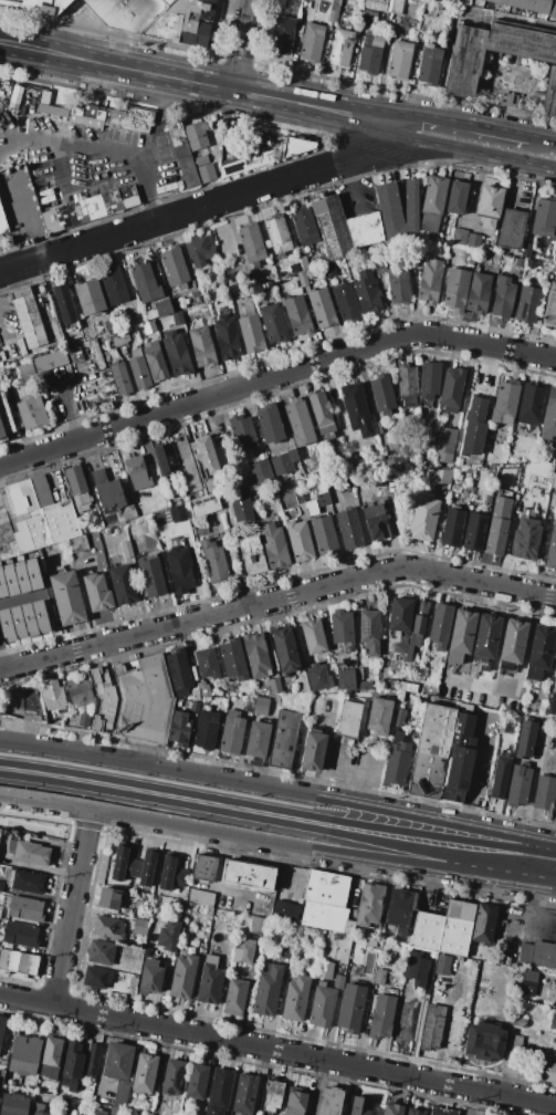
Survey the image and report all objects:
building: (167, 1)
building: (376, 4)
building: (38, 6)
building: (528, 6)
building: (397, 7)
building: (334, 11)
building: (126, 12)
building: (181, 22)
building: (283, 35)
building: (312, 42)
road: (242, 44)
building: (340, 48)
building: (370, 54)
building: (465, 59)
building: (400, 60)
building: (429, 65)
road: (190, 81)
building: (549, 92)
building: (108, 114)
road: (454, 119)
building: (197, 132)
road: (543, 137)
road: (368, 146)
road: (103, 148)
road: (465, 152)
building: (180, 153)
building: (265, 155)
building: (204, 168)
road: (512, 183)
road: (353, 184)
road: (473, 189)
building: (457, 198)
building: (432, 202)
building: (410, 205)
building: (489, 205)
building: (389, 208)
building: (82, 210)
road: (24, 215)
road: (174, 218)
building: (544, 218)
building: (2, 222)
building: (304, 226)
building: (332, 227)
building: (510, 228)
building: (365, 229)
building: (277, 233)
building: (458, 237)
building: (473, 241)
building: (251, 243)
building: (200, 249)
building: (526, 250)
building: (417, 257)
building: (471, 260)
building: (520, 262)
building: (531, 263)
building: (378, 265)
building: (175, 268)
building: (303, 278)
building: (144, 281)
building: (430, 281)
building: (398, 284)
building: (553, 284)
building: (114, 285)
building: (455, 289)
building: (479, 291)
building: (367, 293)
building: (88, 296)
building: (196, 296)
building: (503, 296)
building: (345, 302)
building: (63, 304)
building: (527, 304)
building: (321, 308)
building: (162, 309)
building: (549, 310)
building: (297, 315)
building: (29, 316)
building: (178, 319)
building: (273, 323)
building: (148, 327)
building: (251, 331)
road: (1, 333)
building: (227, 337)
building: (201, 345)
building: (177, 353)
building: (96, 354)
building: (50, 361)
building: (155, 362)
building: (138, 371)
building: (25, 372)
building: (120, 378)
road: (275, 378)
building: (429, 383)
building: (407, 384)
building: (451, 389)
building: (382, 394)
building: (505, 403)
building: (531, 403)
road: (66, 407)
building: (356, 409)
building: (31, 411)
building: (322, 415)
building: (549, 417)
building: (4, 421)
building: (300, 421)
building: (475, 423)
building: (269, 424)
building: (242, 431)
building: (444, 445)
building: (261, 451)
building: (204, 454)
building: (471, 459)
building: (161, 460)
building: (458, 461)
building: (283, 462)
building: (397, 463)
building: (188, 466)
building: (491, 471)
building: (137, 472)
building: (261, 472)
building: (441, 476)
building: (554, 481)
building: (391, 483)
building: (76, 486)
building: (210, 486)
building: (323, 488)
building: (106, 491)
building: (272, 492)
building: (29, 494)
building: (300, 498)
building: (487, 499)
building: (203, 504)
building: (241, 508)
building: (178, 513)
building: (128, 515)
building: (422, 518)
building: (375, 522)
building: (499, 525)
building: (45, 527)
building: (200, 527)
building: (349, 528)
building: (452, 528)
building: (474, 532)
building: (324, 534)
building: (526, 539)
building: (298, 540)
building: (77, 544)
building: (274, 545)
building: (126, 549)
building: (552, 550)
building: (251, 555)
building: (213, 561)
building: (179, 569)
building: (33, 573)
building: (21, 576)
building: (150, 576)
building: (10, 580)
building: (2, 584)
building: (123, 584)
building: (96, 592)
building: (66, 597)
road: (20, 598)
road: (276, 598)
building: (399, 615)
building: (40, 616)
building: (29, 619)
building: (18, 622)
building: (418, 623)
building: (7, 626)
building: (440, 626)
building: (342, 627)
building: (369, 631)
building: (461, 635)
building: (314, 636)
building: (486, 636)
building: (513, 642)
building: (399, 648)
building: (285, 649)
building: (539, 652)
building: (255, 654)
road: (2, 659)
building: (233, 659)
building: (207, 663)
building: (178, 673)
building: (318, 677)
building: (346, 679)
building: (555, 680)
building: (409, 682)
building: (274, 686)
building: (365, 686)
building: (203, 688)
building: (78, 691)
building: (195, 695)
building: (52, 696)
building: (461, 696)
building: (103, 699)
building: (144, 700)
building: (13, 701)
building: (248, 704)
building: (222, 705)
building: (552, 705)
building: (261, 706)
building: (193, 708)
building: (379, 716)
building: (349, 718)
building: (84, 719)
building: (179, 728)
building: (206, 729)
building: (231, 733)
building: (525, 739)
building: (256, 740)
building: (284, 740)
building: (314, 750)
building: (431, 751)
building: (459, 759)
road: (350, 763)
building: (396, 763)
road: (156, 769)
road: (473, 770)
building: (501, 778)
building: (518, 785)
road: (155, 788)
building: (543, 793)
road: (153, 803)
road: (420, 819)
building: (0, 830)
road: (418, 830)
road: (276, 843)
road: (542, 844)
building: (29, 852)
road: (431, 855)
building: (133, 866)
building: (204, 868)
building: (171, 874)
building: (246, 875)
building: (24, 880)
road: (216, 882)
building: (199, 896)
building: (109, 898)
building: (325, 902)
building: (137, 904)
building: (188, 905)
building: (369, 905)
road: (70, 907)
building: (0, 908)
building: (24, 909)
building: (285, 910)
building: (400, 910)
building: (208, 913)
building: (156, 915)
road: (529, 918)
building: (484, 923)
building: (259, 926)
building: (140, 927)
building: (107, 928)
building: (443, 928)
building: (301, 932)
building: (20, 935)
building: (168, 935)
road: (555, 935)
building: (316, 937)
building: (336, 947)
building: (244, 951)
building: (101, 952)
building: (538, 952)
building: (287, 954)
building: (18, 961)
building: (442, 965)
building: (324, 970)
building: (417, 970)
building: (150, 977)
building: (183, 977)
building: (379, 977)
building: (96, 978)
building: (209, 980)
building: (527, 980)
building: (338, 982)
building: (266, 991)
building: (552, 992)
building: (235, 997)
building: (295, 998)
building: (321, 1005)
building: (350, 1008)
building: (381, 1017)
building: (518, 1022)
building: (552, 1023)
building: (1, 1027)
building: (432, 1027)
building: (484, 1041)
building: (514, 1044)
building: (554, 1045)
road: (277, 1050)
building: (24, 1054)
building: (51, 1057)
building: (92, 1059)
building: (3, 1061)
building: (118, 1061)
building: (71, 1065)
building: (514, 1069)
building: (549, 1071)
building: (1, 1074)
building: (145, 1074)
building: (172, 1076)
building: (197, 1082)
building: (219, 1092)
building: (244, 1093)
building: (120, 1094)
building: (273, 1095)
building: (328, 1101)
building: (294, 1102)
road: (470, 1102)
building: (138, 1103)
building: (12, 1104)
building: (360, 1105)
building: (66, 1106)
building: (38, 1108)
building: (392, 1109)
building: (440, 1111)
building: (99, 1112)
building: (415, 1112)

